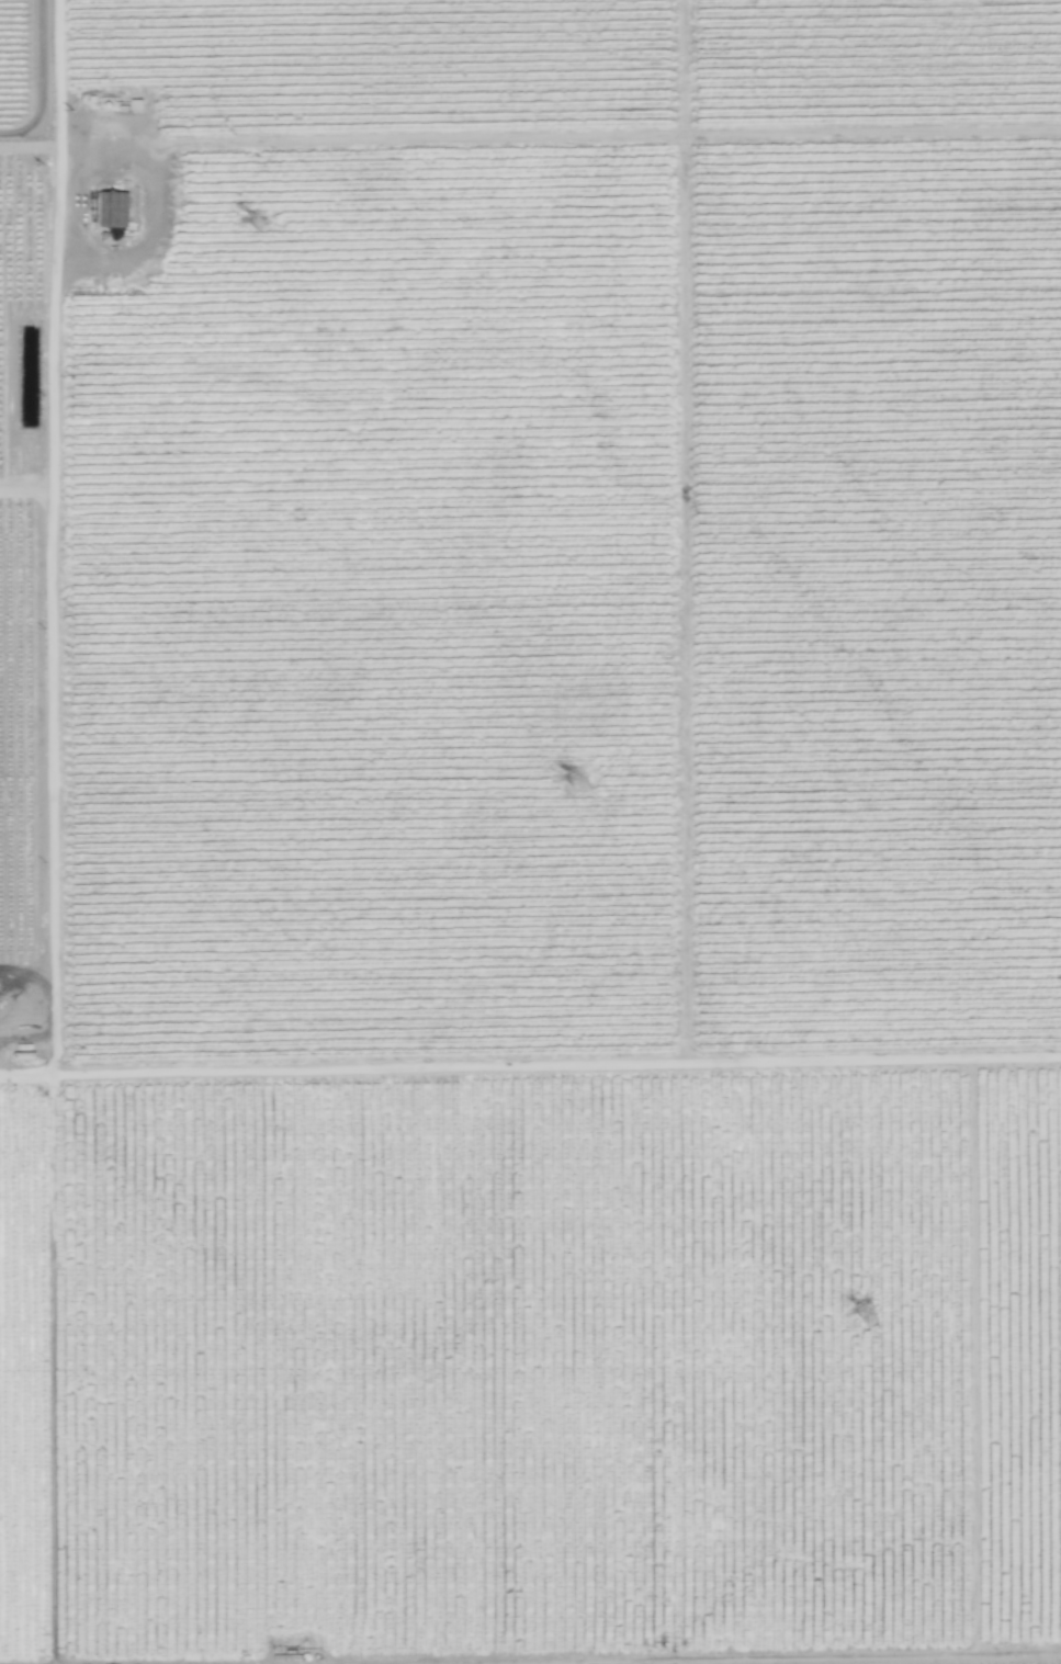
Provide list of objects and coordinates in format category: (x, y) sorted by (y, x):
road: (58, 73)
road: (25, 77)
road: (97, 146)
power tower: (262, 224)
road: (679, 530)
power tower: (582, 782)
road: (530, 1063)
power tower: (869, 1312)
road: (968, 1354)
road: (48, 1368)
road: (748, 1656)

